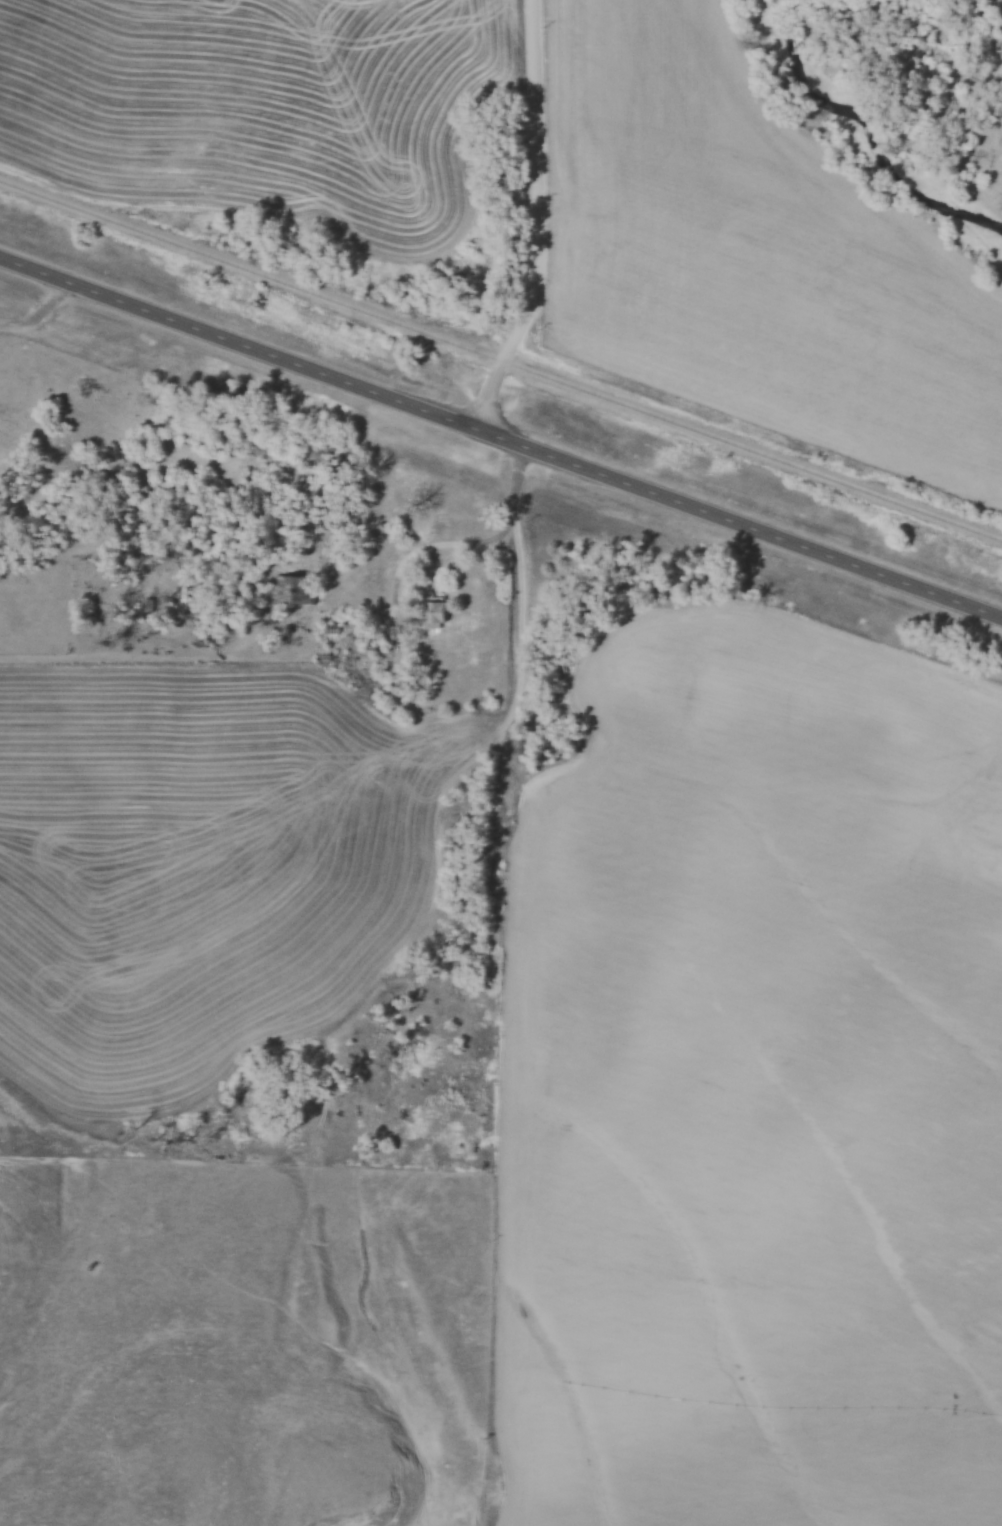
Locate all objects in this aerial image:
road: (534, 218)
railway: (501, 360)
road: (501, 435)
road: (505, 529)
building: (296, 592)
building: (435, 613)
crop: (202, 869)

